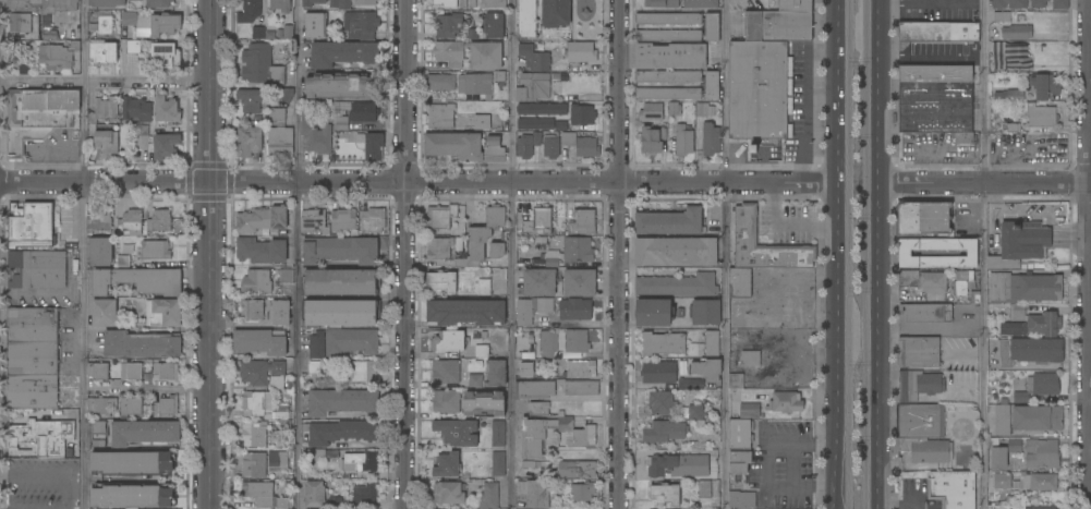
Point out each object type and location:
building: (134, 0)
building: (106, 2)
building: (364, 2)
building: (158, 3)
building: (445, 3)
building: (463, 3)
building: (472, 3)
building: (492, 3)
building: (662, 3)
building: (700, 3)
building: (1009, 3)
building: (1038, 3)
building: (314, 4)
building: (340, 4)
building: (1060, 4)
building: (282, 5)
building: (795, 5)
building: (248, 11)
building: (556, 13)
building: (33, 15)
building: (1002, 17)
building: (129, 19)
building: (526, 19)
building: (105, 25)
building: (158, 25)
building: (315, 25)
building: (362, 25)
building: (448, 25)
building: (494, 25)
building: (710, 26)
building: (777, 26)
building: (935, 31)
building: (288, 32)
building: (1016, 32)
building: (263, 33)
building: (133, 47)
building: (998, 47)
building: (102, 51)
building: (580, 51)
building: (342, 53)
building: (470, 53)
building: (167, 54)
building: (61, 56)
building: (670, 56)
building: (534, 58)
building: (1013, 60)
building: (260, 65)
building: (499, 75)
road: (102, 81)
building: (440, 82)
building: (475, 85)
building: (711, 85)
building: (1042, 85)
building: (340, 86)
building: (533, 87)
building: (760, 89)
road: (983, 92)
building: (286, 94)
building: (1015, 96)
building: (935, 98)
building: (251, 99)
building: (341, 105)
building: (674, 108)
building: (135, 109)
building: (166, 109)
building: (542, 109)
building: (702, 109)
building: (104, 110)
building: (363, 112)
building: (651, 112)
building: (278, 113)
building: (581, 114)
building: (440, 116)
building: (1041, 116)
building: (37, 117)
building: (341, 122)
building: (481, 122)
building: (535, 123)
building: (561, 126)
building: (314, 134)
building: (141, 137)
building: (959, 137)
building: (568, 138)
building: (710, 138)
building: (652, 140)
building: (683, 140)
building: (248, 142)
building: (106, 143)
building: (280, 143)
building: (528, 144)
building: (371, 145)
building: (165, 146)
building: (463, 146)
building: (550, 147)
building: (586, 147)
road: (982, 166)
road: (524, 181)
road: (106, 183)
road: (985, 183)
building: (440, 216)
building: (262, 219)
building: (923, 219)
building: (159, 220)
building: (312, 220)
building: (342, 220)
building: (373, 220)
building: (98, 221)
building: (538, 221)
building: (582, 221)
building: (131, 222)
building: (669, 222)
road: (784, 223)
building: (29, 225)
building: (745, 226)
building: (482, 237)
road: (1070, 239)
building: (1019, 244)
building: (498, 246)
building: (437, 249)
building: (578, 249)
building: (155, 250)
building: (259, 250)
building: (340, 250)
building: (99, 252)
building: (675, 252)
building: (904, 253)
road: (84, 254)
road: (211, 254)
road: (298, 254)
road: (405, 254)
road: (511, 254)
road: (617, 254)
road: (725, 254)
road: (836, 254)
railway: (849, 254)
railway: (866, 254)
road: (882, 254)
road: (1089, 254)
building: (551, 258)
building: (37, 269)
building: (286, 276)
building: (137, 279)
building: (923, 280)
building: (256, 281)
building: (338, 281)
building: (441, 281)
building: (962, 281)
building: (538, 282)
building: (579, 282)
building: (739, 282)
building: (676, 286)
building: (484, 287)
building: (1023, 288)
building: (545, 305)
building: (994, 308)
building: (574, 310)
building: (251, 311)
building: (162, 312)
building: (705, 312)
building: (104, 313)
building: (279, 313)
building: (464, 313)
building: (524, 313)
building: (653, 313)
building: (924, 313)
building: (338, 314)
building: (1029, 323)
building: (32, 325)
road: (925, 329)
building: (350, 341)
building: (448, 341)
building: (260, 342)
building: (562, 342)
building: (663, 343)
building: (712, 343)
building: (141, 344)
building: (316, 344)
road: (983, 347)
building: (482, 351)
building: (1028, 351)
building: (918, 352)
building: (32, 359)
building: (750, 359)
building: (314, 367)
building: (580, 368)
building: (706, 369)
building: (98, 371)
building: (131, 371)
building: (360, 371)
building: (528, 371)
building: (165, 372)
building: (259, 372)
building: (445, 372)
building: (658, 372)
building: (496, 373)
building: (475, 380)
building: (736, 381)
building: (690, 384)
building: (918, 385)
building: (1039, 386)
building: (581, 388)
road: (148, 389)
building: (534, 389)
building: (31, 392)
building: (341, 401)
building: (445, 401)
building: (660, 402)
building: (786, 402)
building: (252, 403)
building: (484, 403)
building: (100, 405)
building: (130, 405)
building: (166, 405)
building: (538, 409)
building: (750, 411)
building: (691, 412)
building: (1002, 417)
building: (957, 419)
building: (1038, 419)
building: (144, 432)
building: (339, 432)
building: (457, 432)
building: (663, 432)
building: (498, 433)
building: (922, 433)
building: (98, 434)
building: (254, 434)
building: (580, 434)
building: (740, 434)
building: (40, 438)
building: (1014, 446)
building: (316, 453)
building: (1041, 453)
building: (997, 456)
building: (278, 458)
building: (739, 461)
building: (360, 462)
building: (133, 463)
building: (498, 463)
building: (254, 464)
road: (767, 464)
road: (789, 464)
building: (446, 465)
building: (677, 465)
building: (577, 470)
building: (1002, 481)
building: (1040, 482)
building: (704, 489)
building: (953, 489)
building: (449, 493)
building: (314, 494)
building: (533, 494)
building: (665, 494)
building: (132, 495)
building: (263, 495)
building: (581, 495)
building: (489, 496)
building: (355, 497)
building: (741, 499)
road: (901, 507)
building: (1040, 507)

